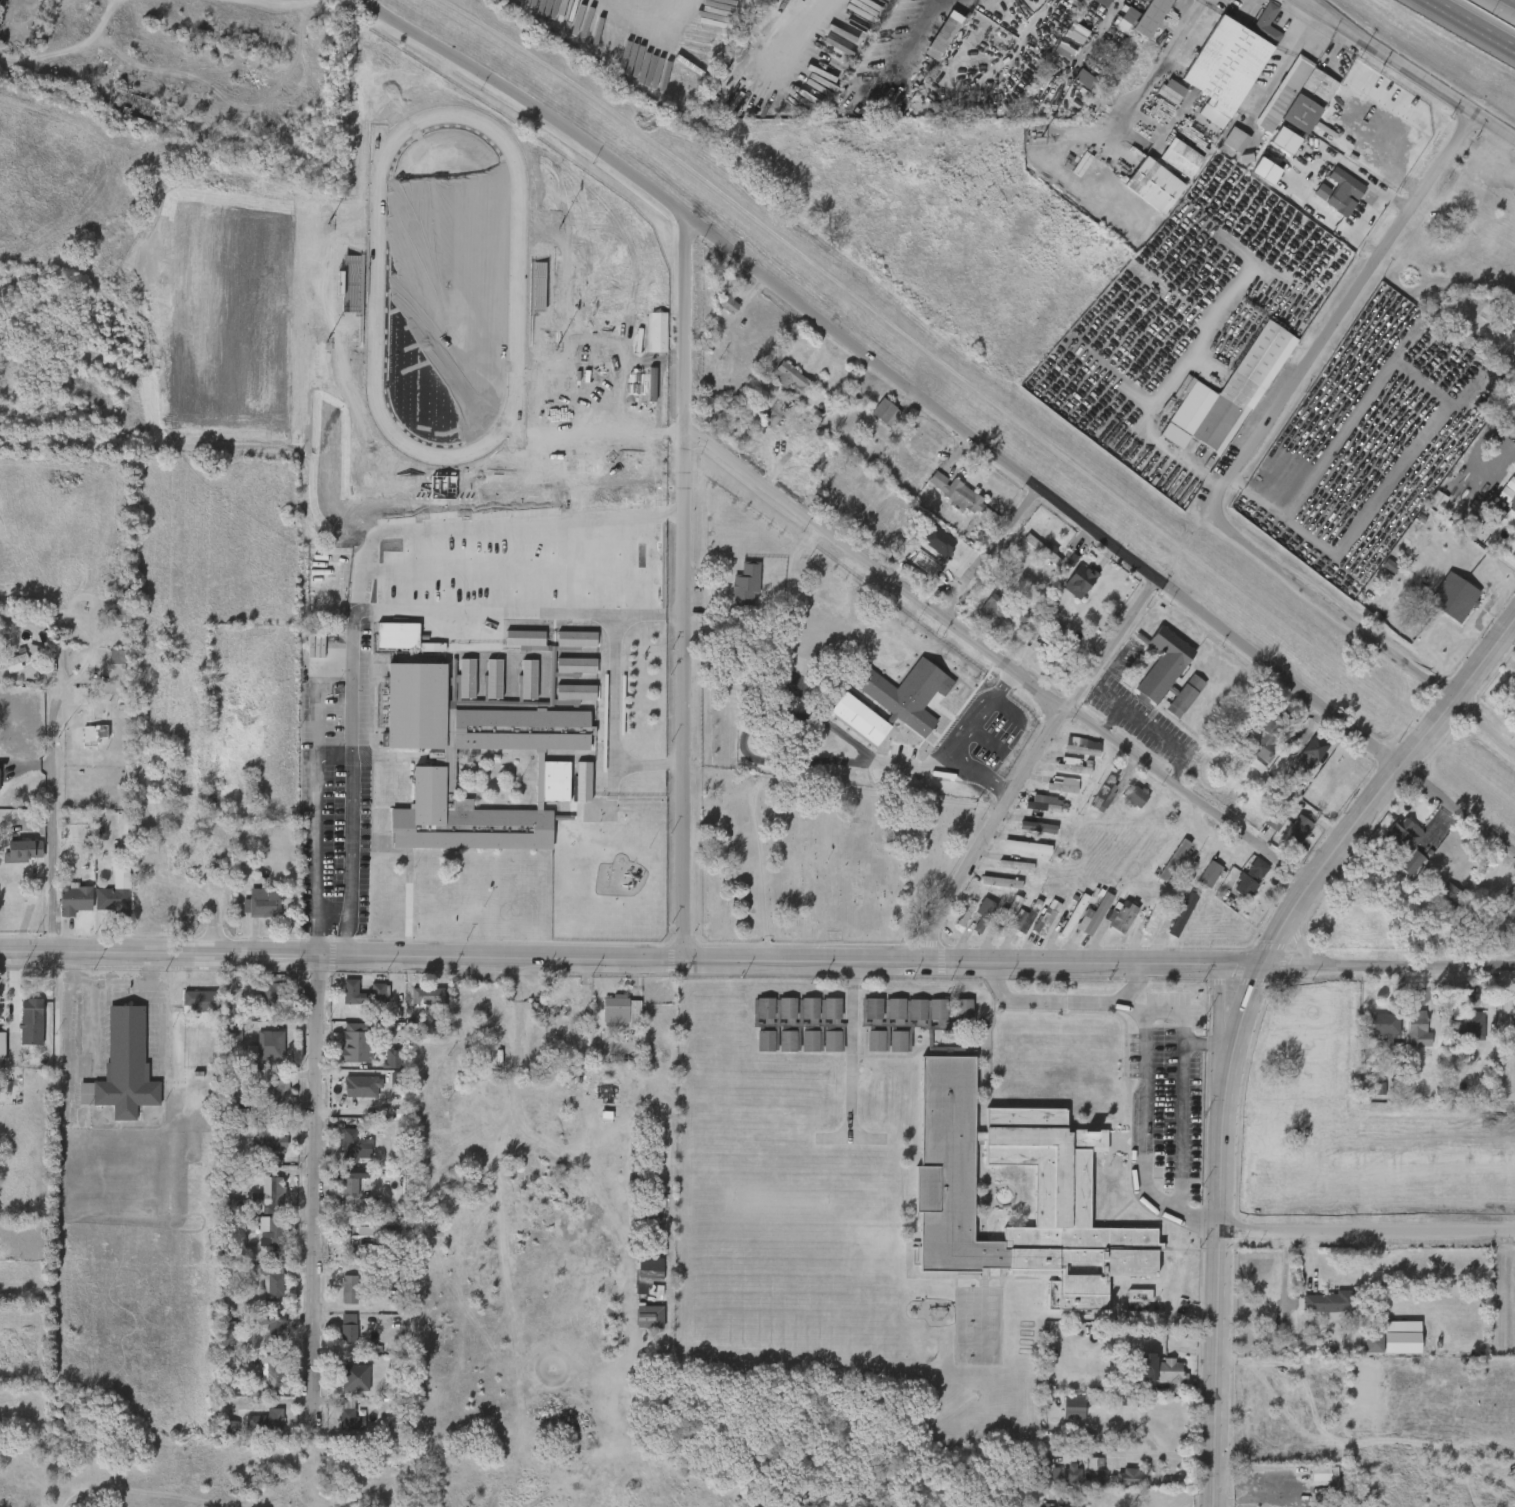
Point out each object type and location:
road: (116, 0)
road: (1513, 1)
building: (1102, 2)
road: (1310, 5)
building: (1092, 6)
road: (251, 8)
road: (1193, 11)
building: (1144, 17)
building: (19, 22)
road: (1471, 25)
building: (1114, 29)
road: (1095, 33)
building: (935, 34)
building: (1228, 63)
road: (1406, 70)
building: (1173, 91)
building: (1295, 97)
building: (1160, 98)
building: (133, 105)
building: (1223, 148)
building: (1178, 158)
building: (1168, 166)
building: (1149, 184)
building: (1345, 191)
building: (1328, 200)
road: (1390, 255)
building: (716, 311)
road: (678, 327)
building: (658, 331)
park: (456, 336)
building: (646, 341)
road: (1440, 356)
road: (882, 367)
building: (792, 379)
building: (780, 388)
building: (1233, 390)
building: (886, 412)
road: (1328, 414)
building: (873, 421)
road: (1259, 451)
building: (595, 465)
road: (1408, 476)
building: (958, 493)
building: (556, 494)
building: (1504, 494)
building: (945, 502)
building: (1491, 502)
road: (651, 514)
building: (1506, 524)
road: (1288, 525)
building: (326, 535)
building: (1041, 547)
road: (996, 558)
road: (362, 573)
building: (1079, 578)
building: (747, 584)
building: (1066, 589)
building: (733, 593)
building: (1454, 597)
building: (1002, 609)
road: (647, 614)
building: (977, 615)
road: (1362, 629)
building: (578, 639)
building: (385, 643)
building: (563, 648)
road: (997, 657)
building: (12, 663)
building: (104, 665)
building: (577, 666)
building: (67, 667)
building: (1165, 672)
building: (563, 673)
building: (520, 677)
building: (540, 677)
building: (455, 686)
building: (481, 687)
road: (351, 688)
building: (515, 692)
road: (612, 693)
road: (681, 693)
building: (894, 701)
building: (68, 703)
building: (1514, 710)
road: (1122, 721)
road: (1108, 723)
building: (93, 726)
building: (847, 726)
building: (1263, 733)
road: (1236, 736)
road: (959, 742)
building: (1314, 747)
building: (1070, 755)
building: (453, 756)
building: (1298, 762)
road: (315, 764)
road: (651, 766)
building: (1074, 768)
road: (1036, 771)
building: (1059, 774)
building: (1265, 776)
building: (1101, 789)
road: (1382, 791)
building: (1050, 793)
road: (51, 804)
building: (1124, 804)
road: (1457, 811)
building: (1032, 812)
building: (1298, 828)
building: (1261, 829)
building: (1025, 835)
building: (1285, 837)
building: (1404, 842)
building: (22, 849)
building: (1393, 851)
building: (1001, 853)
road: (350, 862)
building: (1161, 868)
building: (1003, 873)
building: (1250, 878)
building: (1196, 882)
building: (1237, 886)
park: (534, 887)
building: (988, 890)
building: (73, 898)
building: (114, 898)
building: (1508, 898)
building: (1436, 902)
building: (263, 903)
building: (101, 906)
building: (250, 910)
building: (1500, 910)
building: (971, 922)
building: (1082, 922)
building: (1169, 922)
building: (1034, 923)
building: (1061, 923)
building: (1109, 925)
road: (314, 926)
building: (1137, 927)
building: (1011, 928)
road: (631, 959)
road: (1389, 967)
building: (273, 989)
building: (381, 989)
road: (1121, 989)
road: (98, 991)
building: (429, 995)
building: (257, 1001)
building: (352, 1001)
building: (198, 1002)
building: (415, 1003)
building: (570, 1003)
building: (784, 1008)
building: (806, 1008)
building: (827, 1008)
road: (1027, 1009)
building: (187, 1010)
building: (621, 1011)
building: (753, 1016)
building: (797, 1016)
building: (819, 1016)
building: (609, 1019)
road: (1163, 1020)
building: (30, 1021)
building: (1379, 1025)
building: (1465, 1028)
building: (1511, 1028)
building: (1416, 1029)
building: (19, 1030)
building: (1369, 1032)
building: (1405, 1037)
building: (222, 1039)
building: (359, 1040)
building: (807, 1041)
building: (829, 1041)
building: (272, 1045)
building: (753, 1048)
building: (774, 1049)
building: (797, 1049)
building: (819, 1049)
building: (343, 1050)
road: (848, 1050)
road: (1202, 1053)
building: (255, 1054)
building: (380, 1066)
building: (122, 1067)
building: (1, 1073)
building: (273, 1087)
building: (350, 1094)
building: (228, 1096)
road: (1226, 1096)
building: (264, 1098)
road: (1130, 1116)
road: (1170, 1135)
building: (267, 1136)
road: (522, 1144)
building: (353, 1145)
building: (257, 1146)
building: (341, 1152)
building: (1007, 1154)
building: (350, 1183)
road: (312, 1184)
building: (340, 1187)
building: (271, 1190)
building: (257, 1202)
building: (230, 1207)
building: (221, 1213)
road: (1193, 1227)
road: (1367, 1232)
building: (354, 1235)
building: (274, 1236)
building: (342, 1244)
building: (637, 1277)
road: (1375, 1278)
building: (268, 1279)
building: (259, 1288)
building: (348, 1290)
building: (634, 1296)
building: (337, 1297)
building: (393, 1300)
building: (1328, 1301)
building: (1126, 1303)
building: (1317, 1311)
building: (1513, 1312)
building: (637, 1324)
building: (347, 1328)
building: (272, 1329)
building: (263, 1334)
building: (336, 1335)
building: (1373, 1342)
building: (1363, 1351)
road: (1217, 1369)
building: (1167, 1370)
building: (346, 1376)
building: (1147, 1376)
building: (273, 1377)
building: (258, 1381)
building: (1061, 1409)
building: (264, 1421)
building: (337, 1422)
building: (254, 1428)
building: (219, 1435)
building: (1095, 1471)
building: (1129, 1475)
building: (1082, 1477)
building: (1053, 1481)
building: (1307, 1481)

